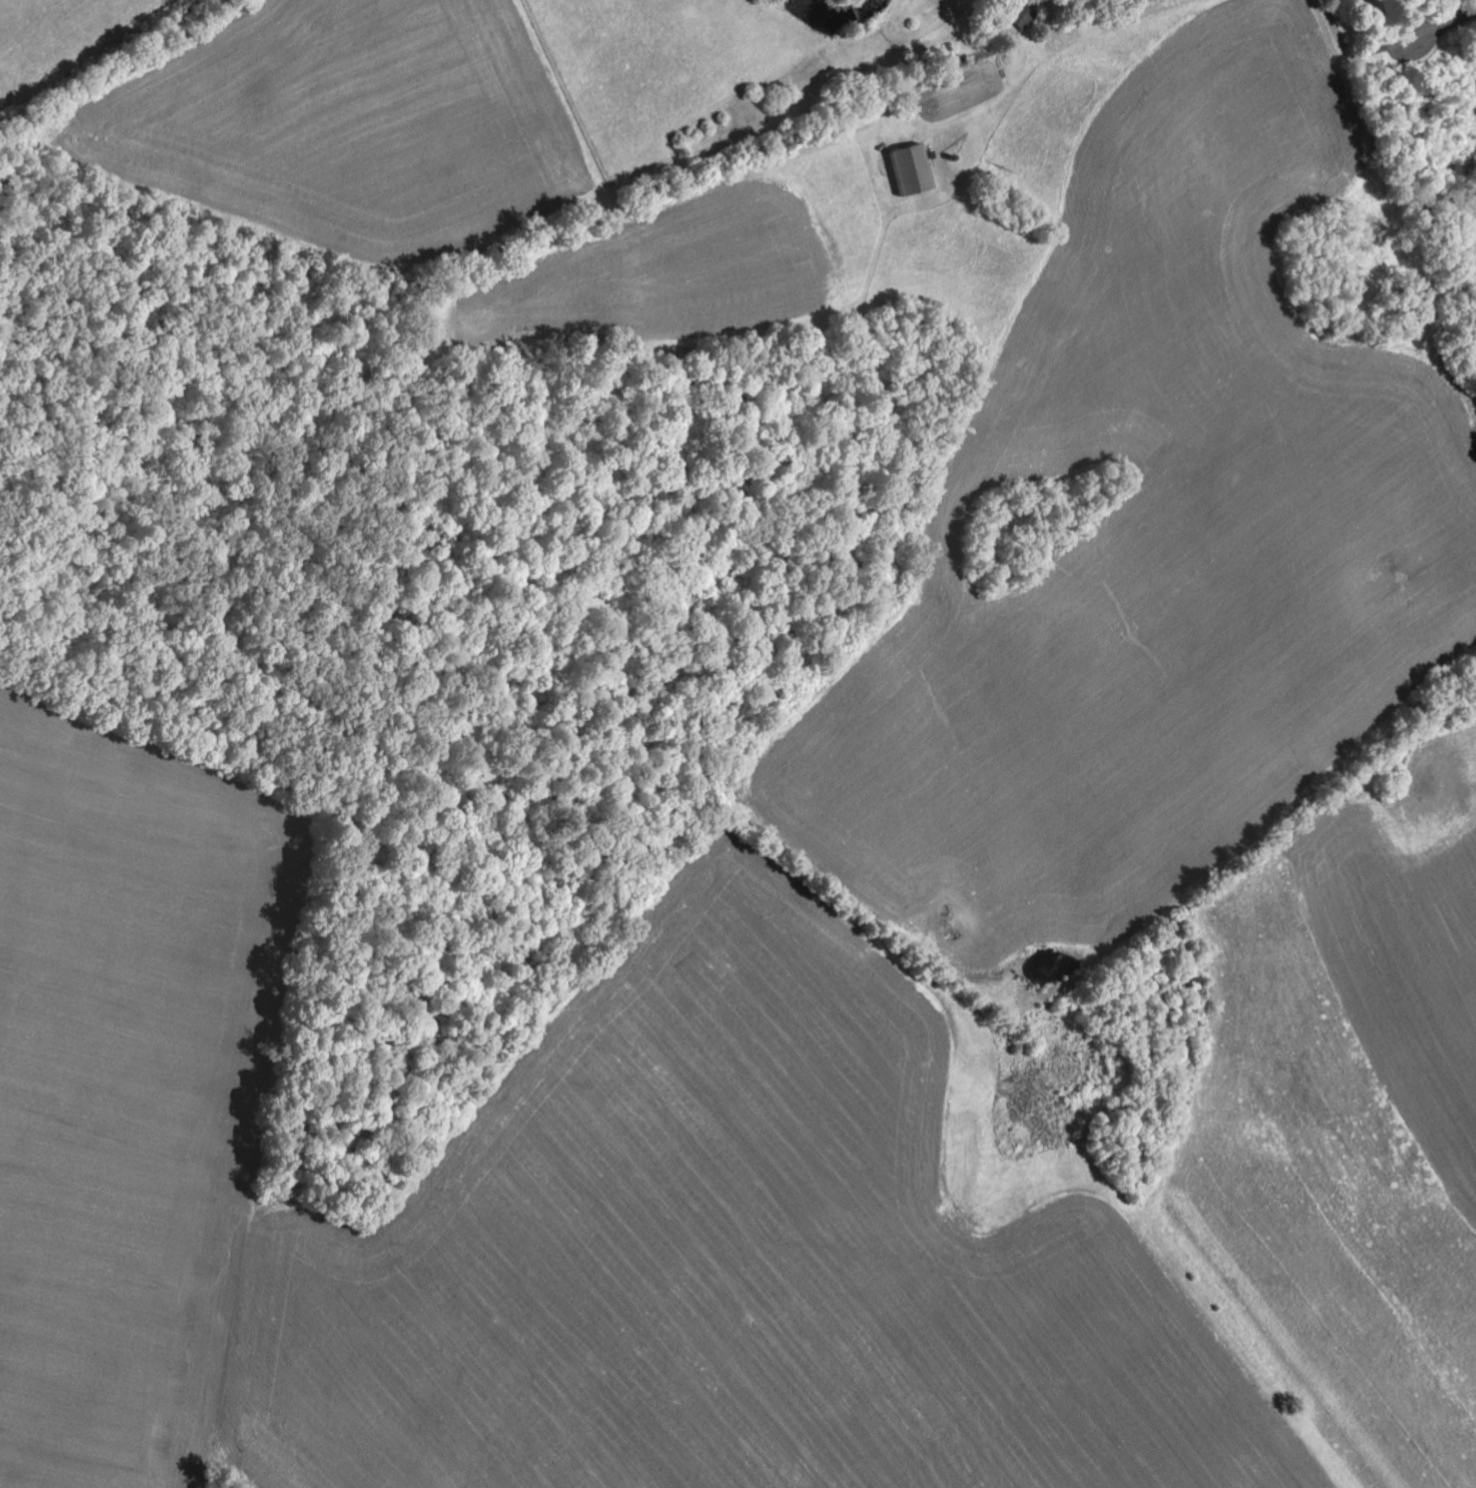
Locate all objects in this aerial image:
road: (1436, 23)
building: (908, 170)

